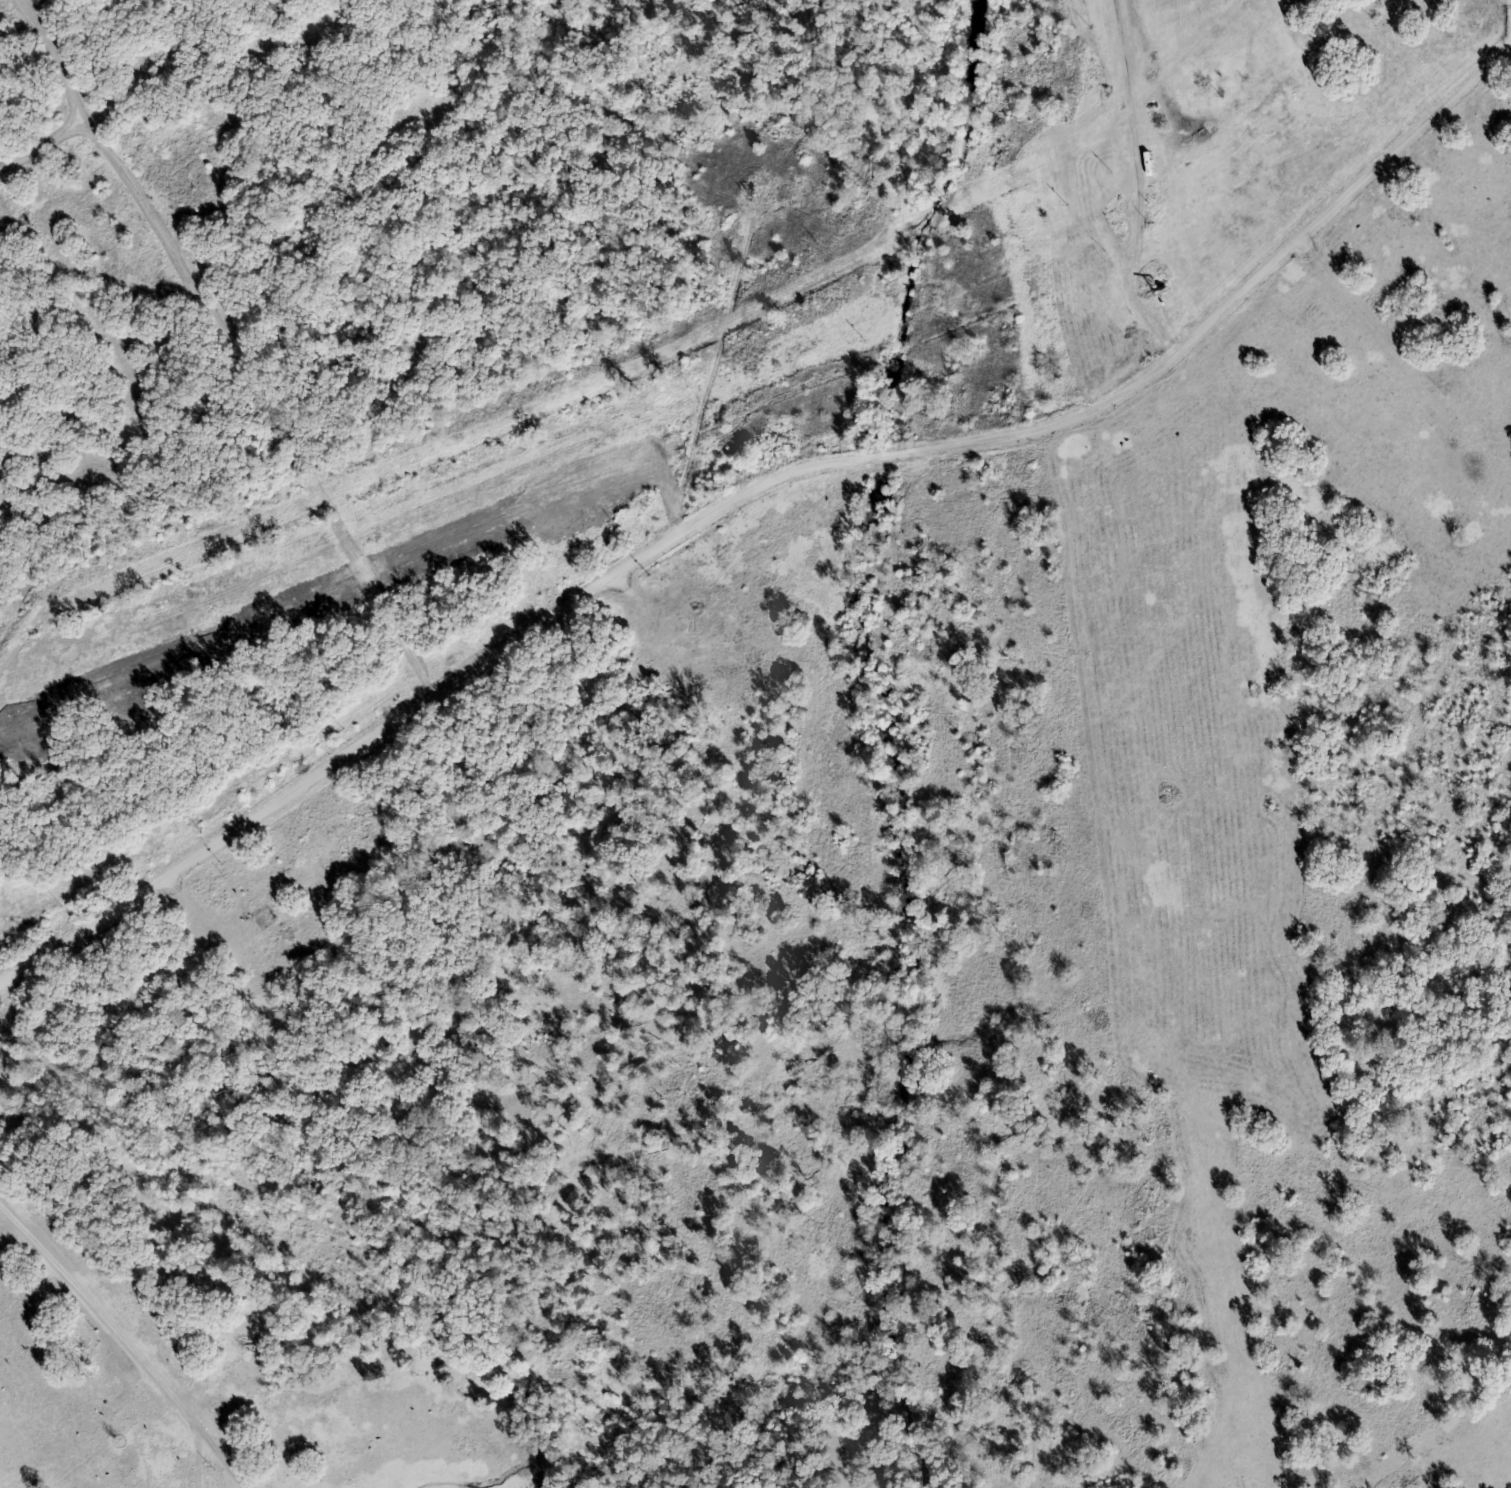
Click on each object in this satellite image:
road: (47, 146)
road: (1379, 326)
road: (230, 346)
road: (715, 370)
road: (128, 400)
road: (754, 485)
road: (1094, 709)
road: (125, 1342)

